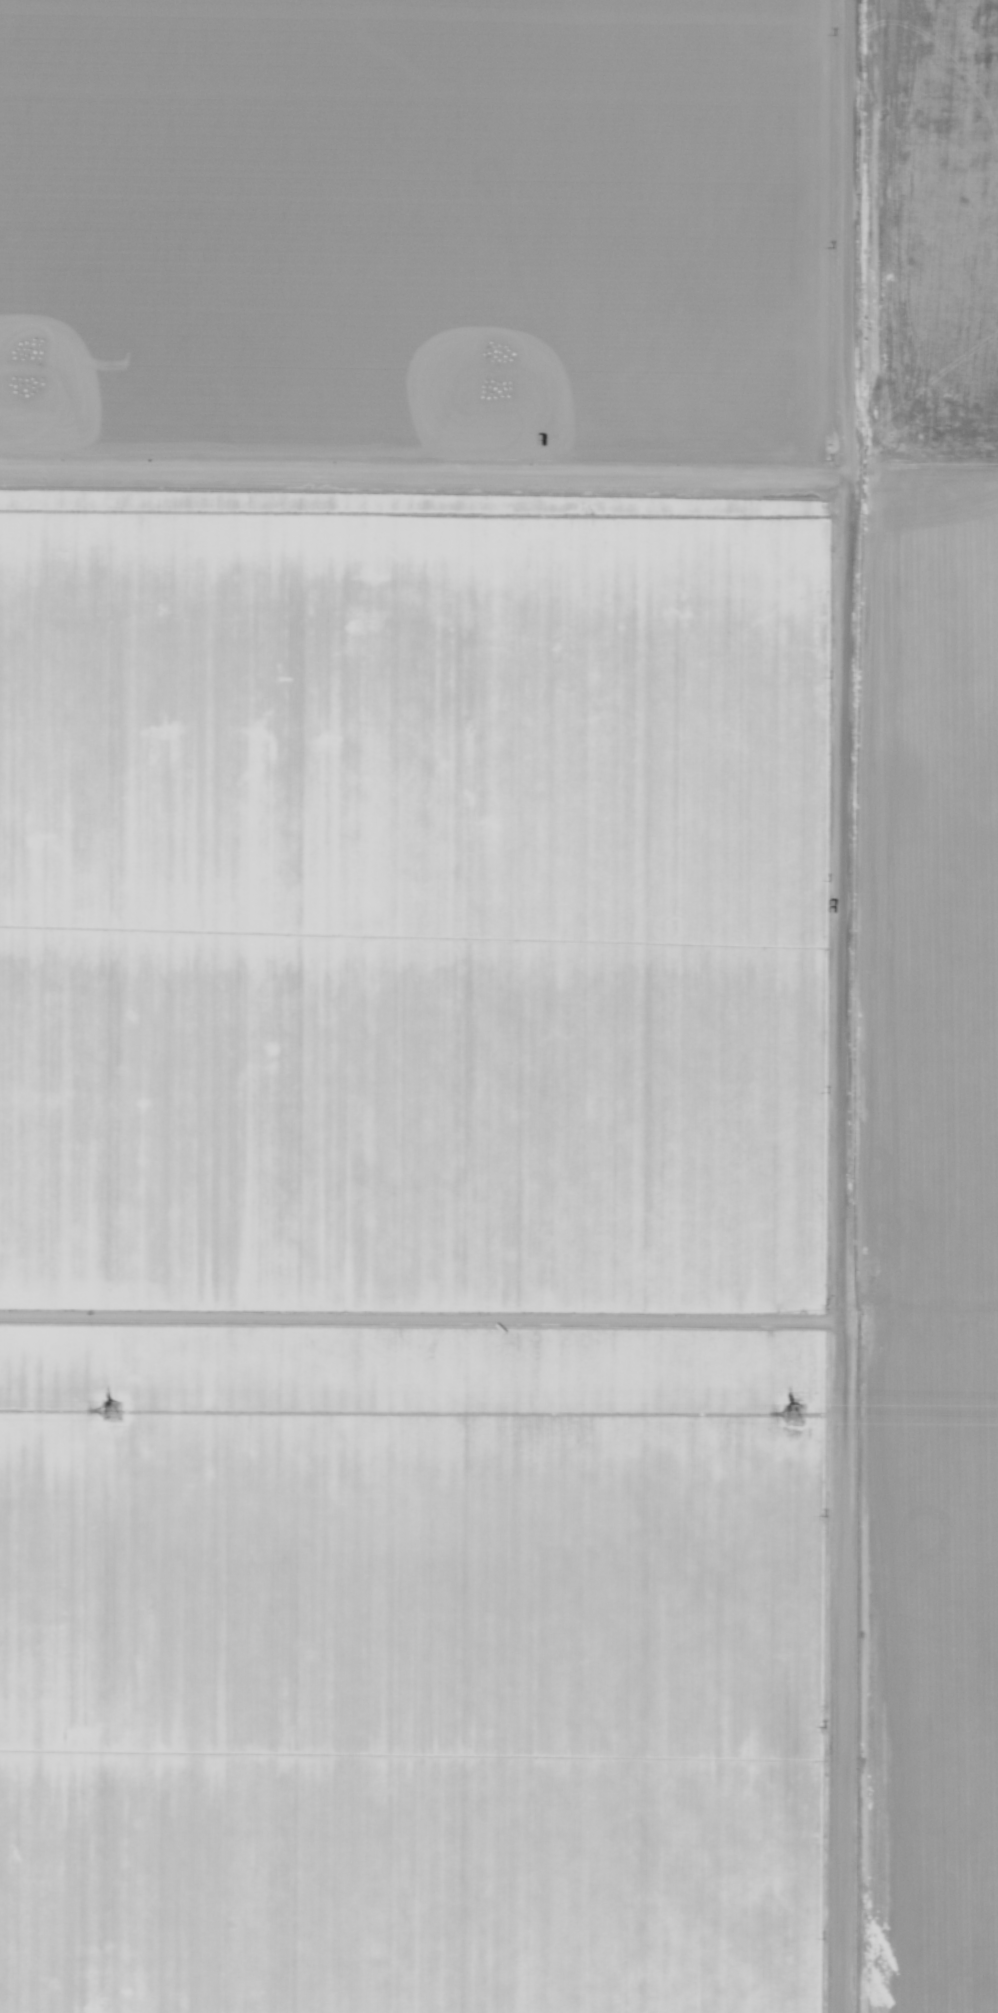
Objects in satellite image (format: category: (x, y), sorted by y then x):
road: (424, 469)
road: (857, 1006)
crop: (417, 1247)
power tower: (113, 1411)
power tower: (795, 1414)

